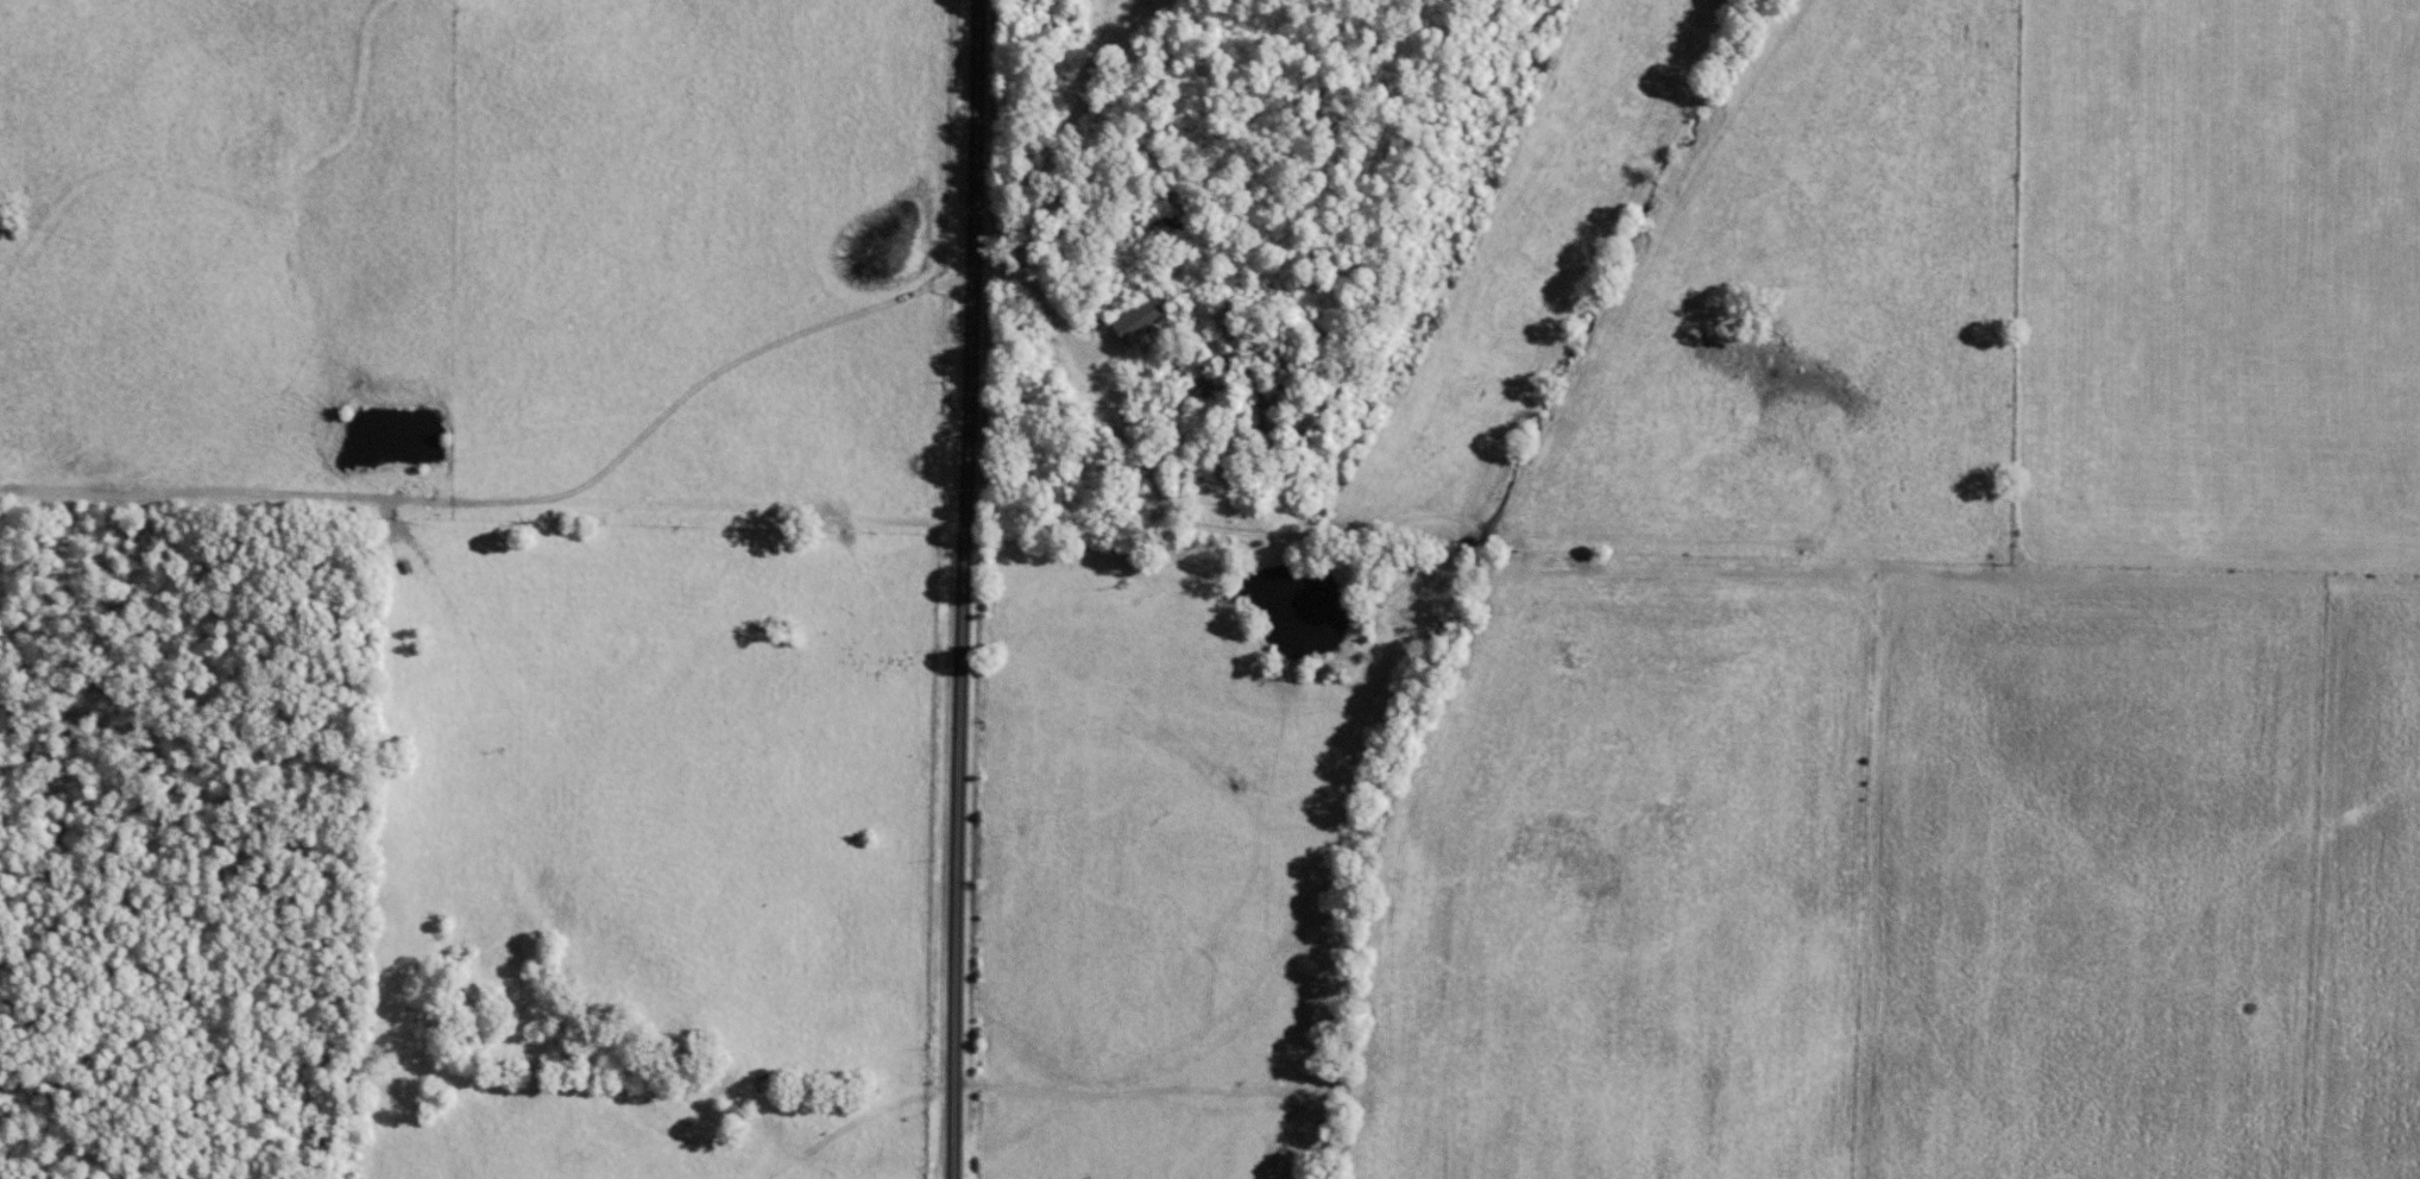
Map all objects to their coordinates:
building: (1139, 324)
road: (960, 588)

